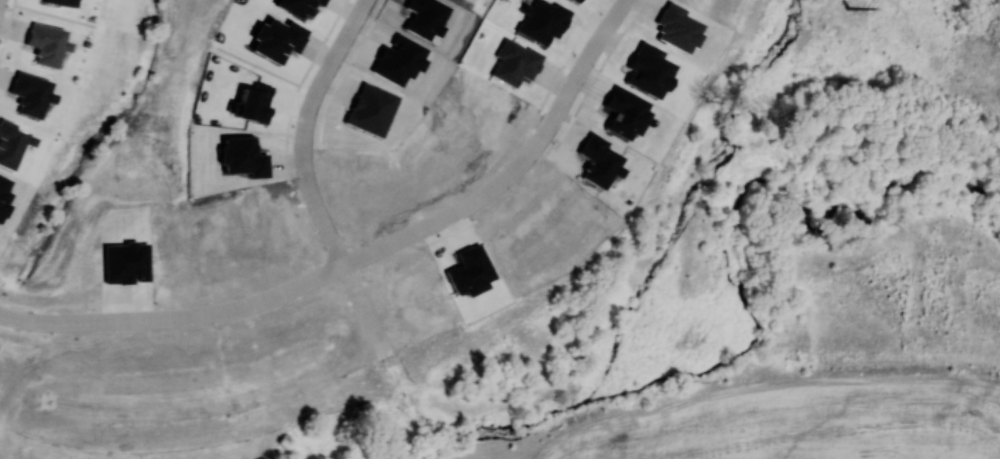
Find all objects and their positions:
building: (578, 0)
building: (61, 2)
power tower: (848, 7)
road: (54, 14)
building: (540, 20)
road: (8, 25)
road: (341, 42)
building: (46, 43)
road: (257, 65)
road: (150, 66)
road: (314, 92)
building: (30, 93)
building: (253, 102)
road: (538, 139)
building: (11, 142)
park: (109, 155)
building: (598, 160)
road: (329, 230)
road: (402, 236)
road: (255, 302)
road: (19, 317)
road: (71, 321)

